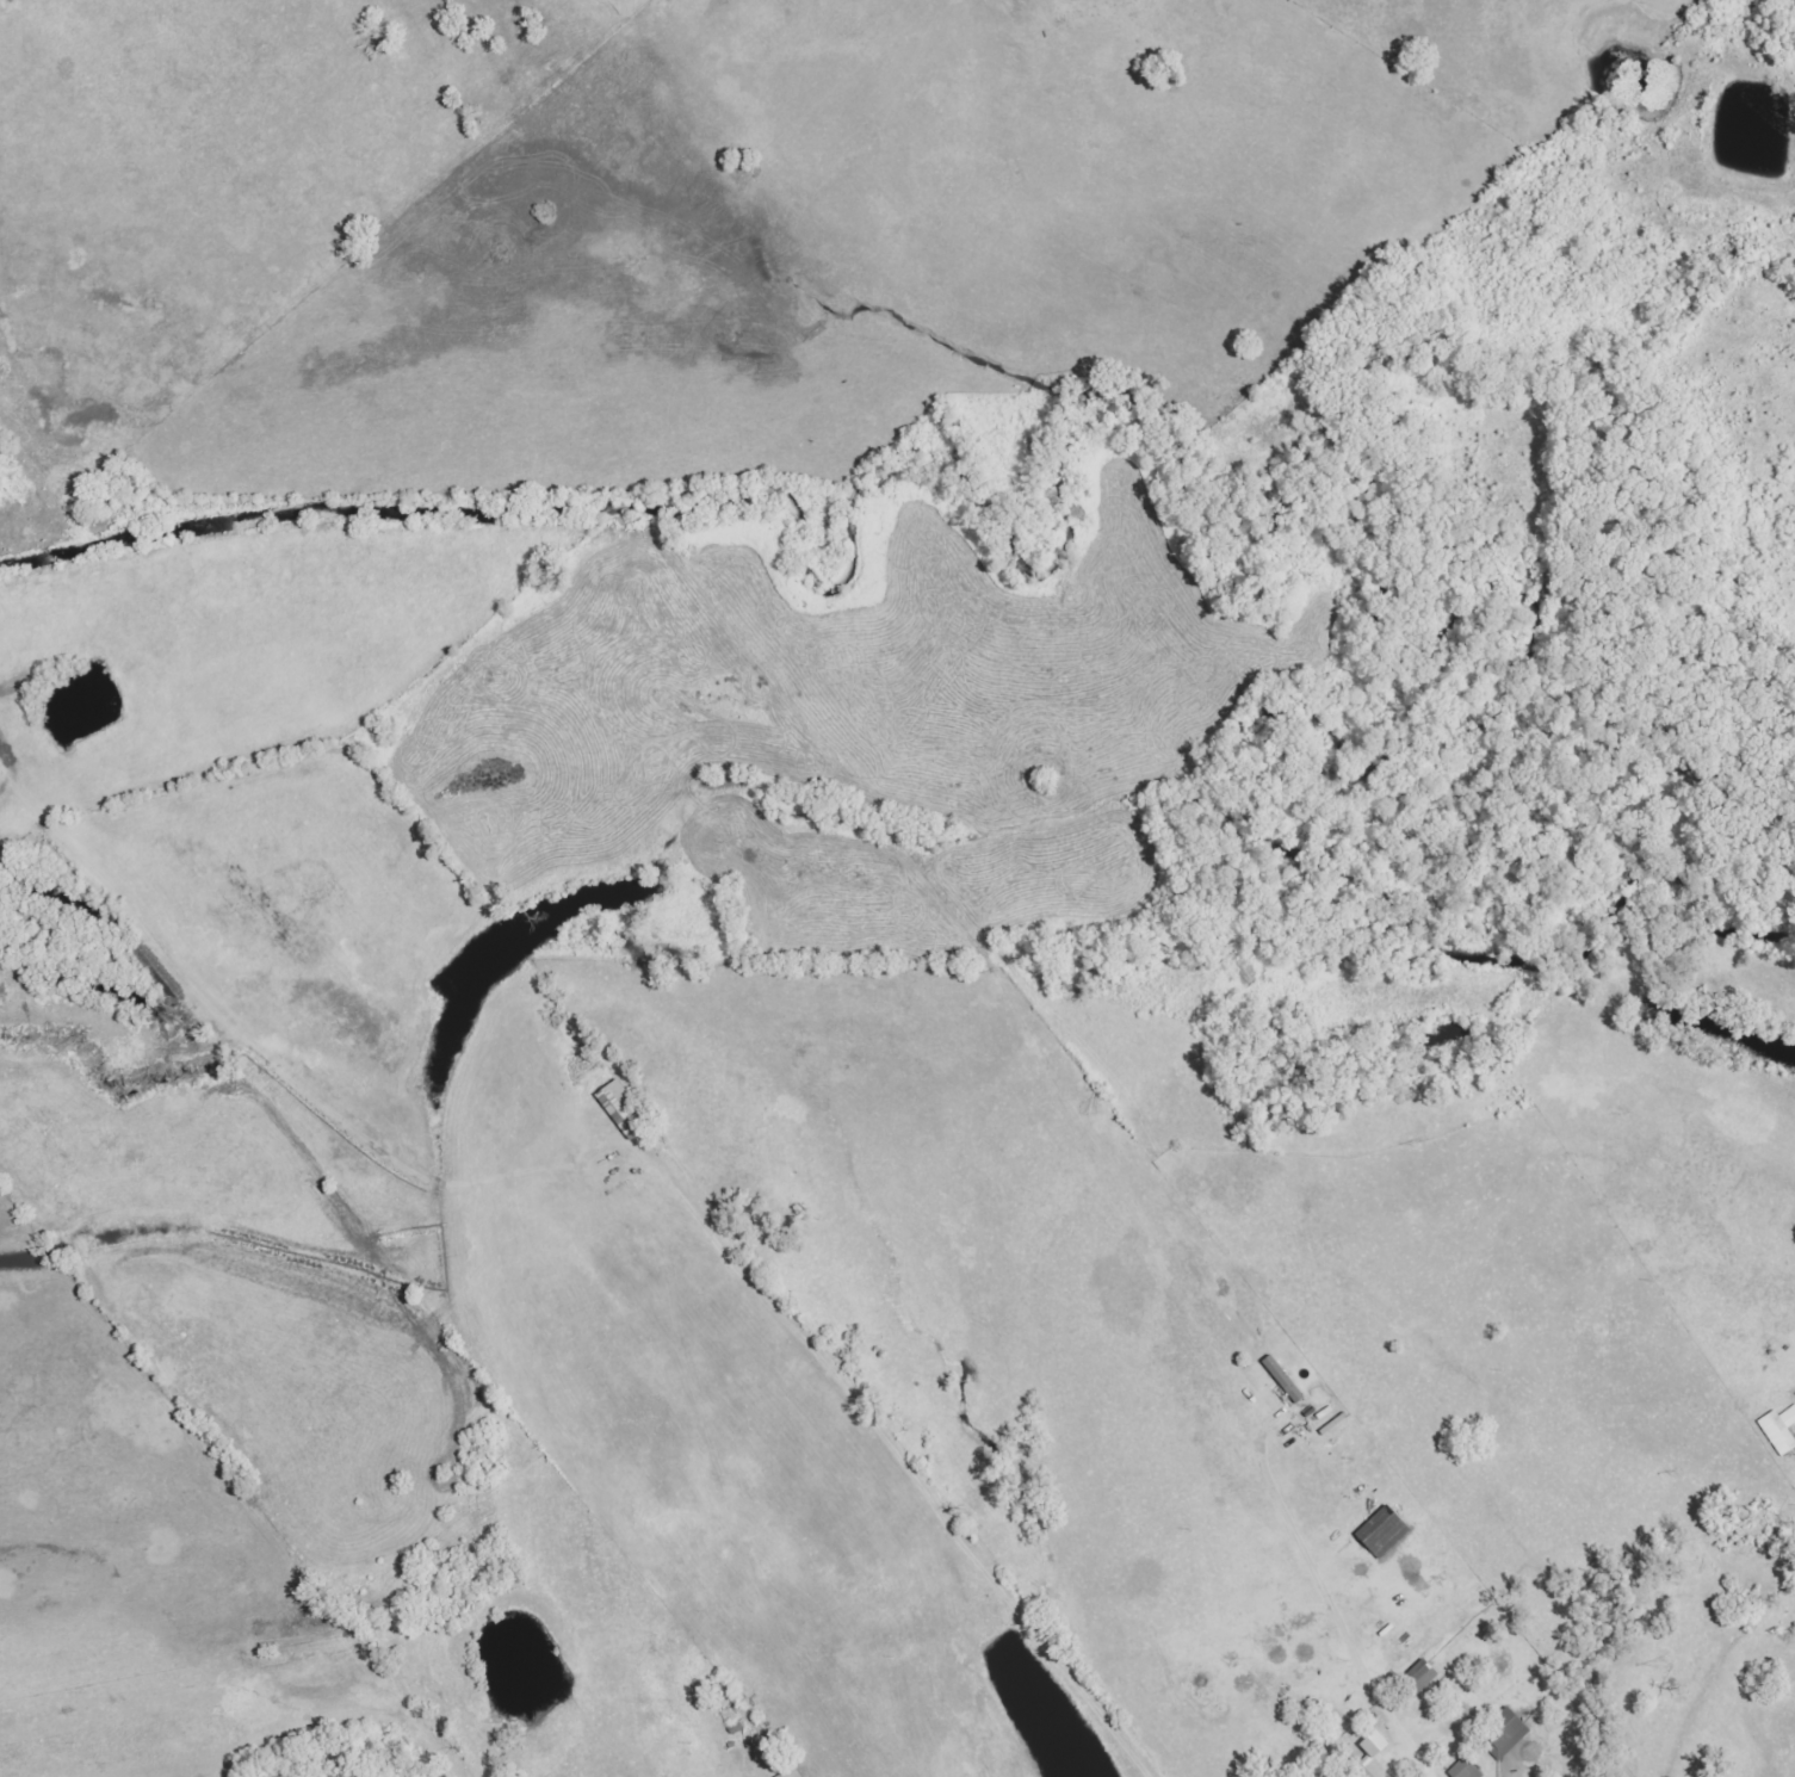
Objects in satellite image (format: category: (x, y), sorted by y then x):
building: (1282, 1380)
building: (1778, 1431)
building: (1382, 1533)
building: (1504, 1733)
building: (1465, 1770)

